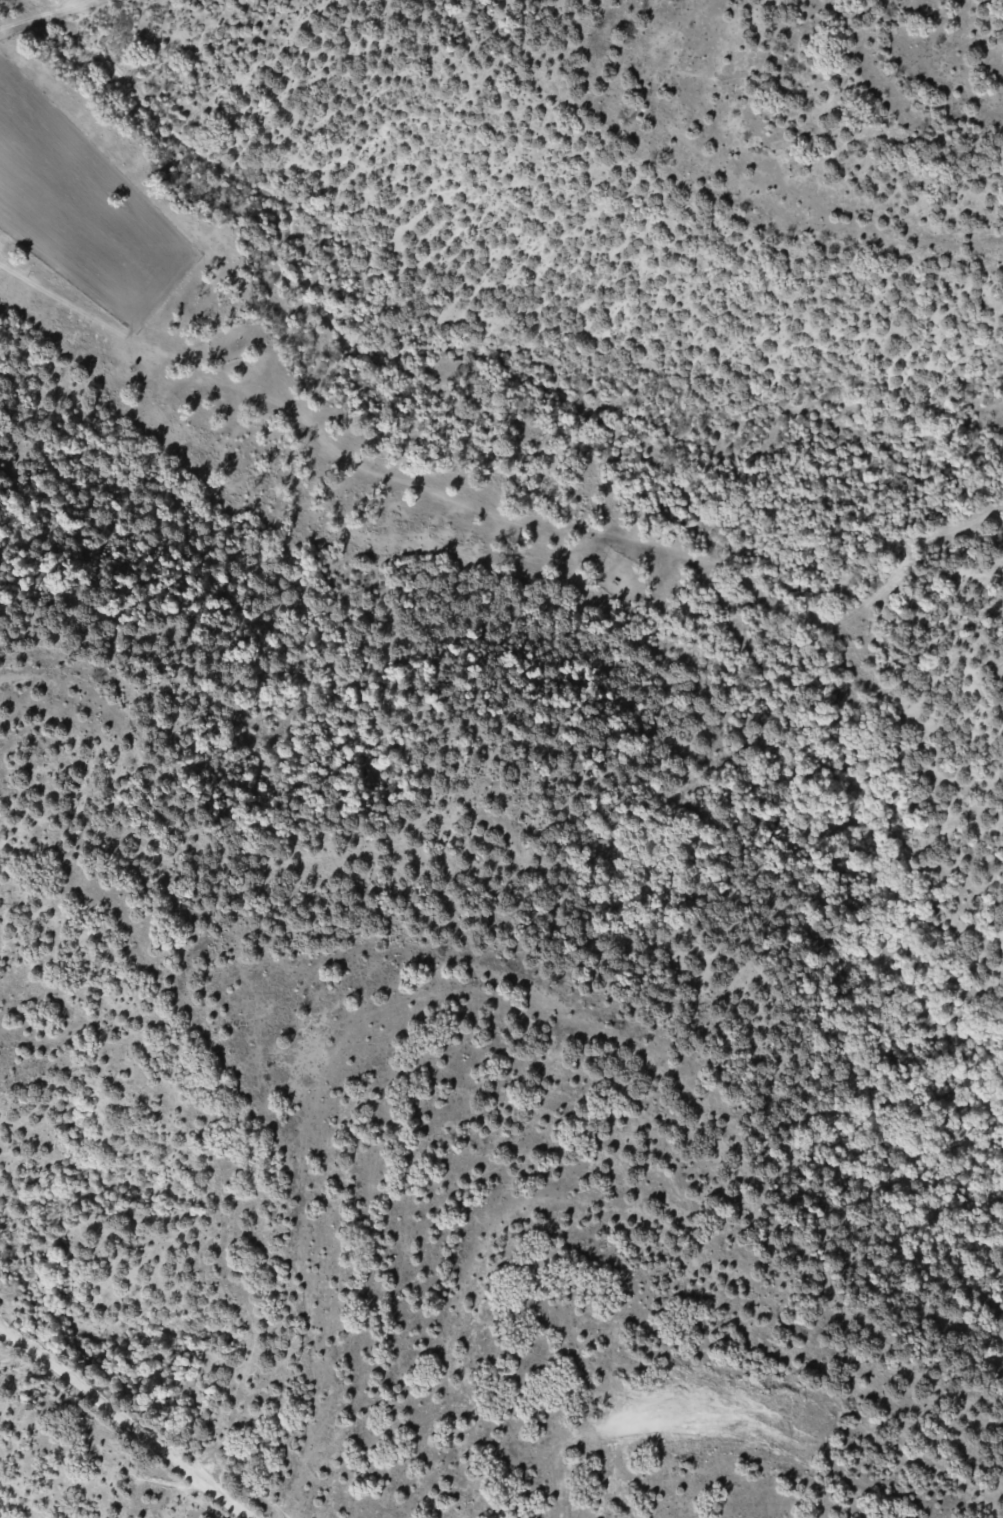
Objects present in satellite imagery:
road: (91, 1437)

